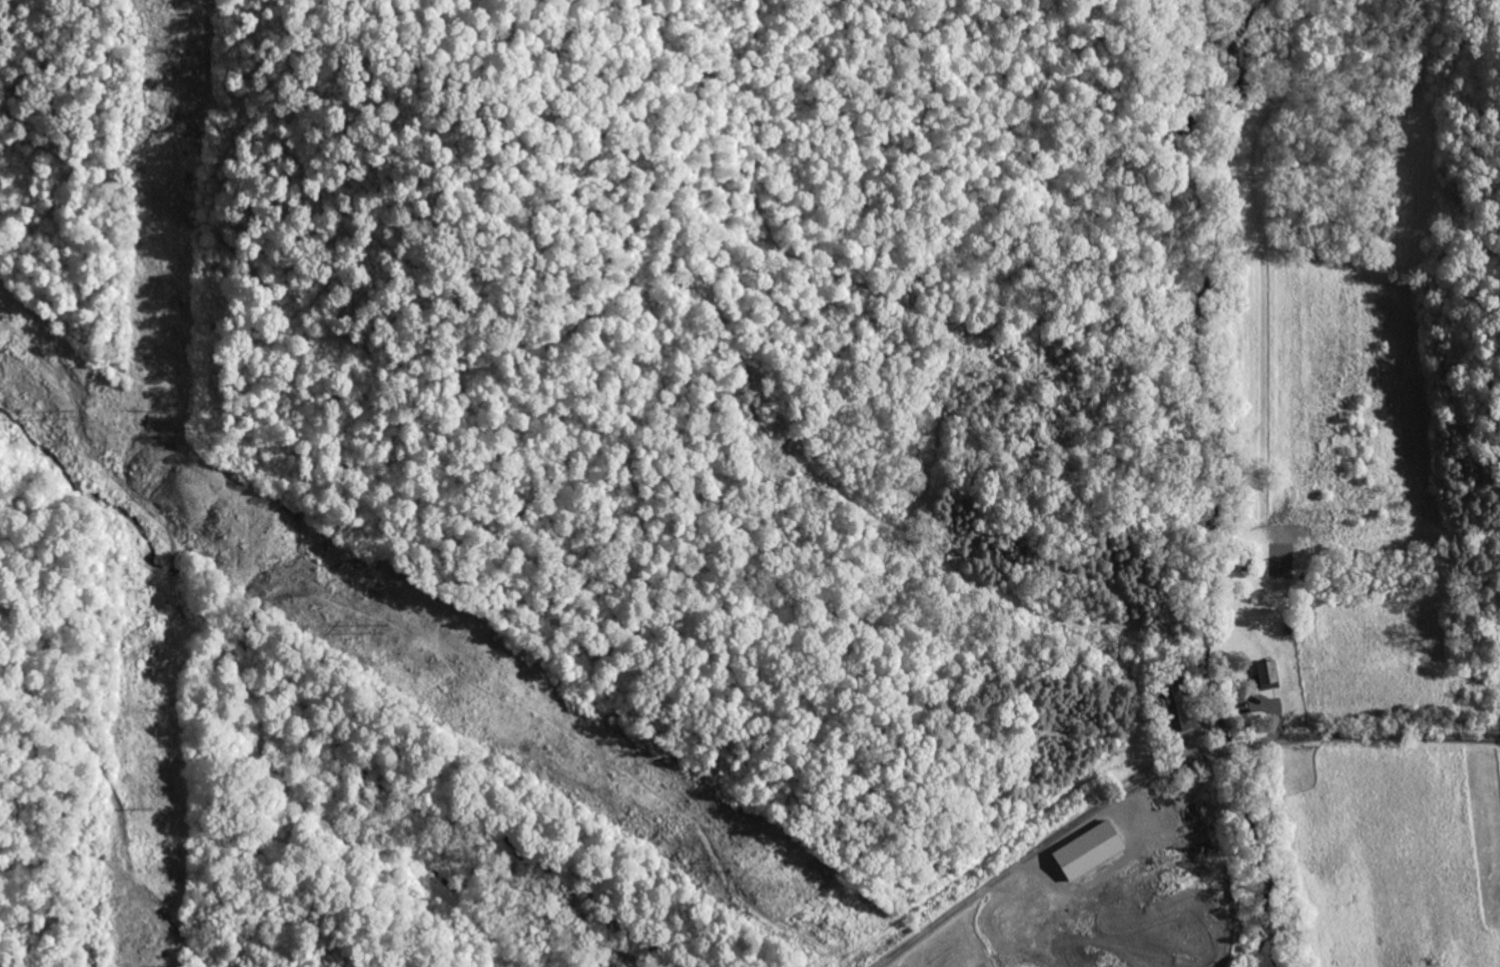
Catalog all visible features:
power tower: (70, 414)
power tower: (385, 629)
building: (1265, 675)
building: (1176, 706)
road: (1163, 775)
building: (1083, 851)
power tower: (743, 865)

